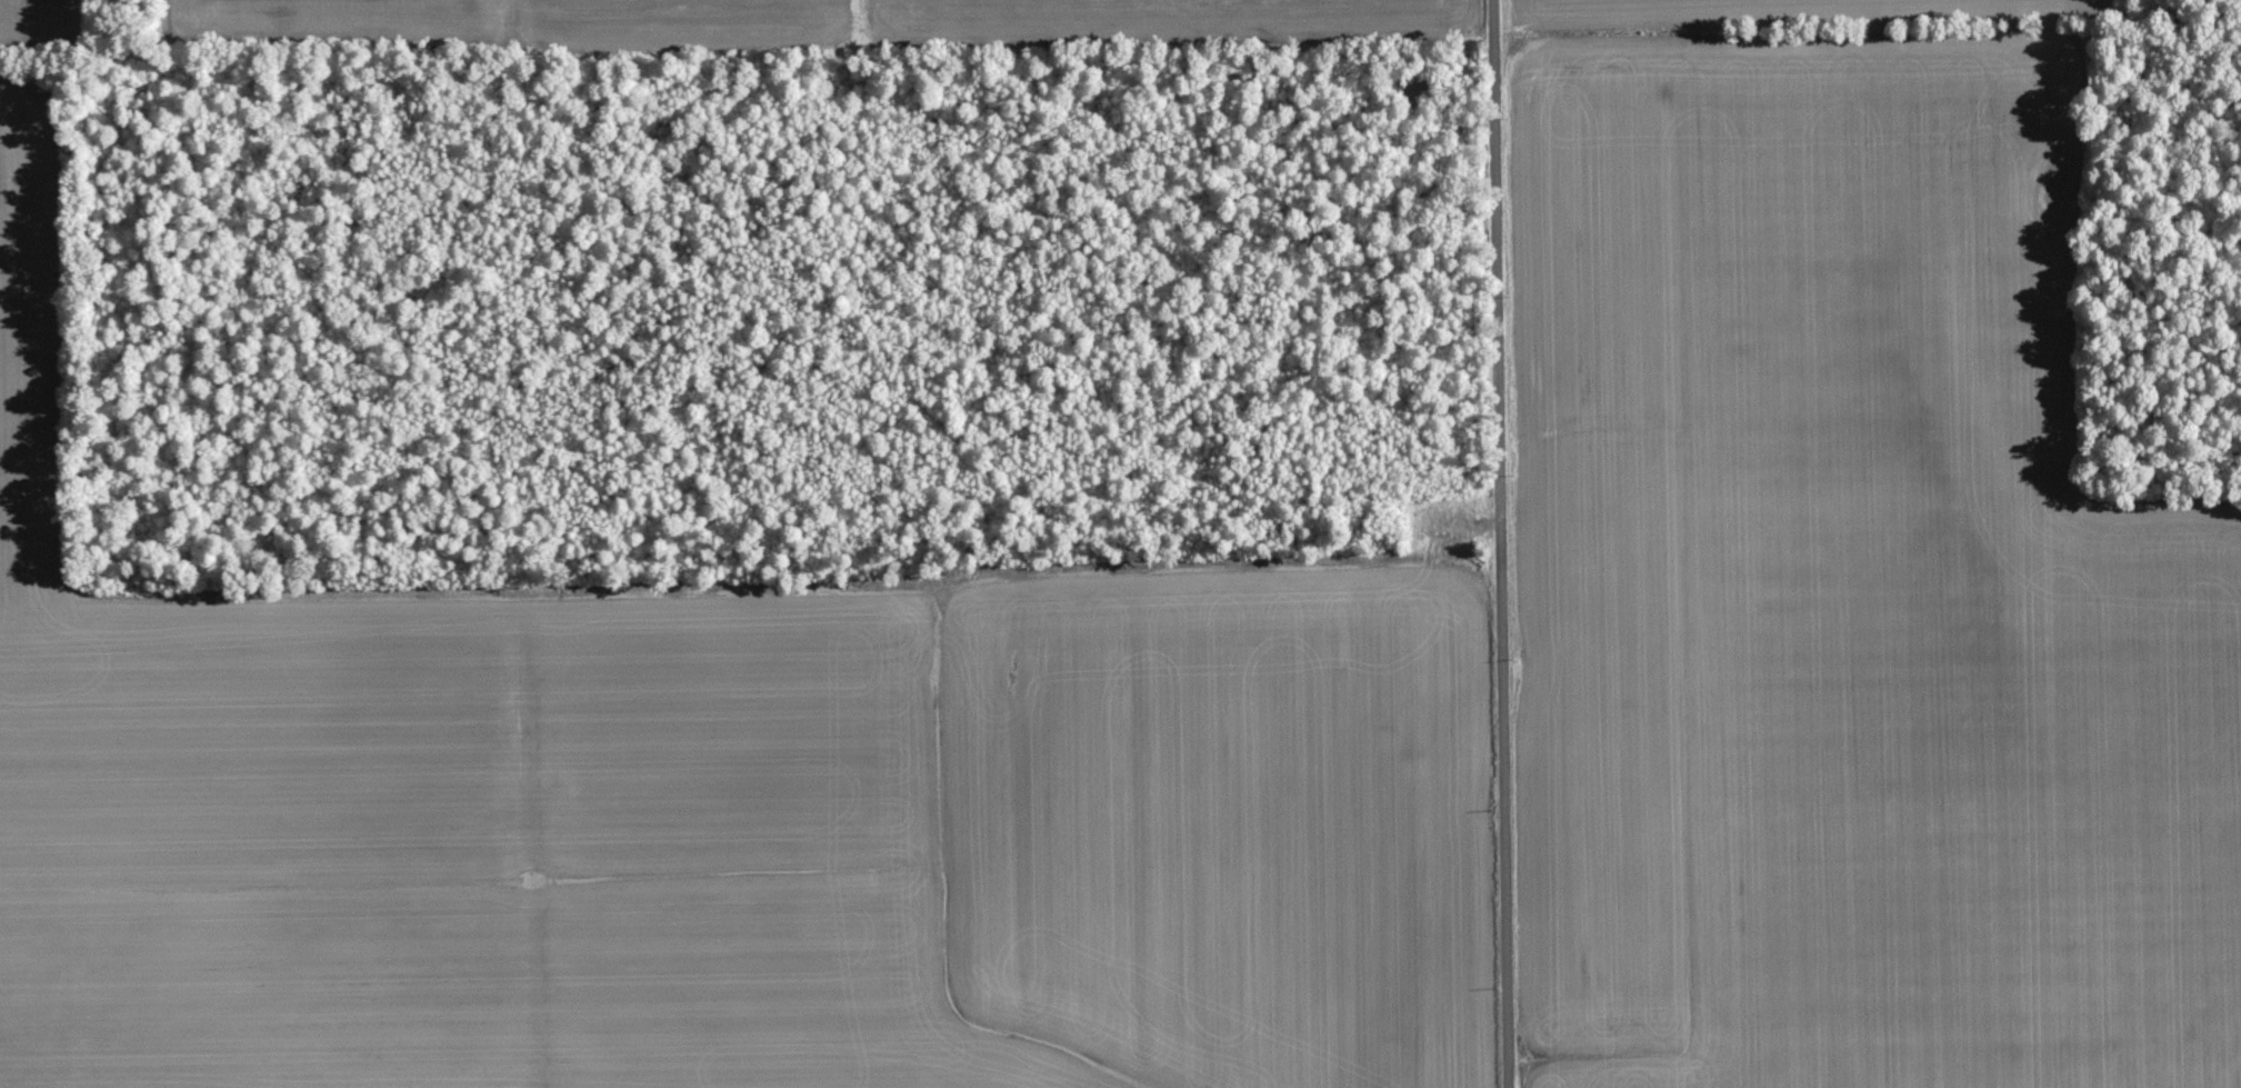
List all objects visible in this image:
road: (1499, 543)

